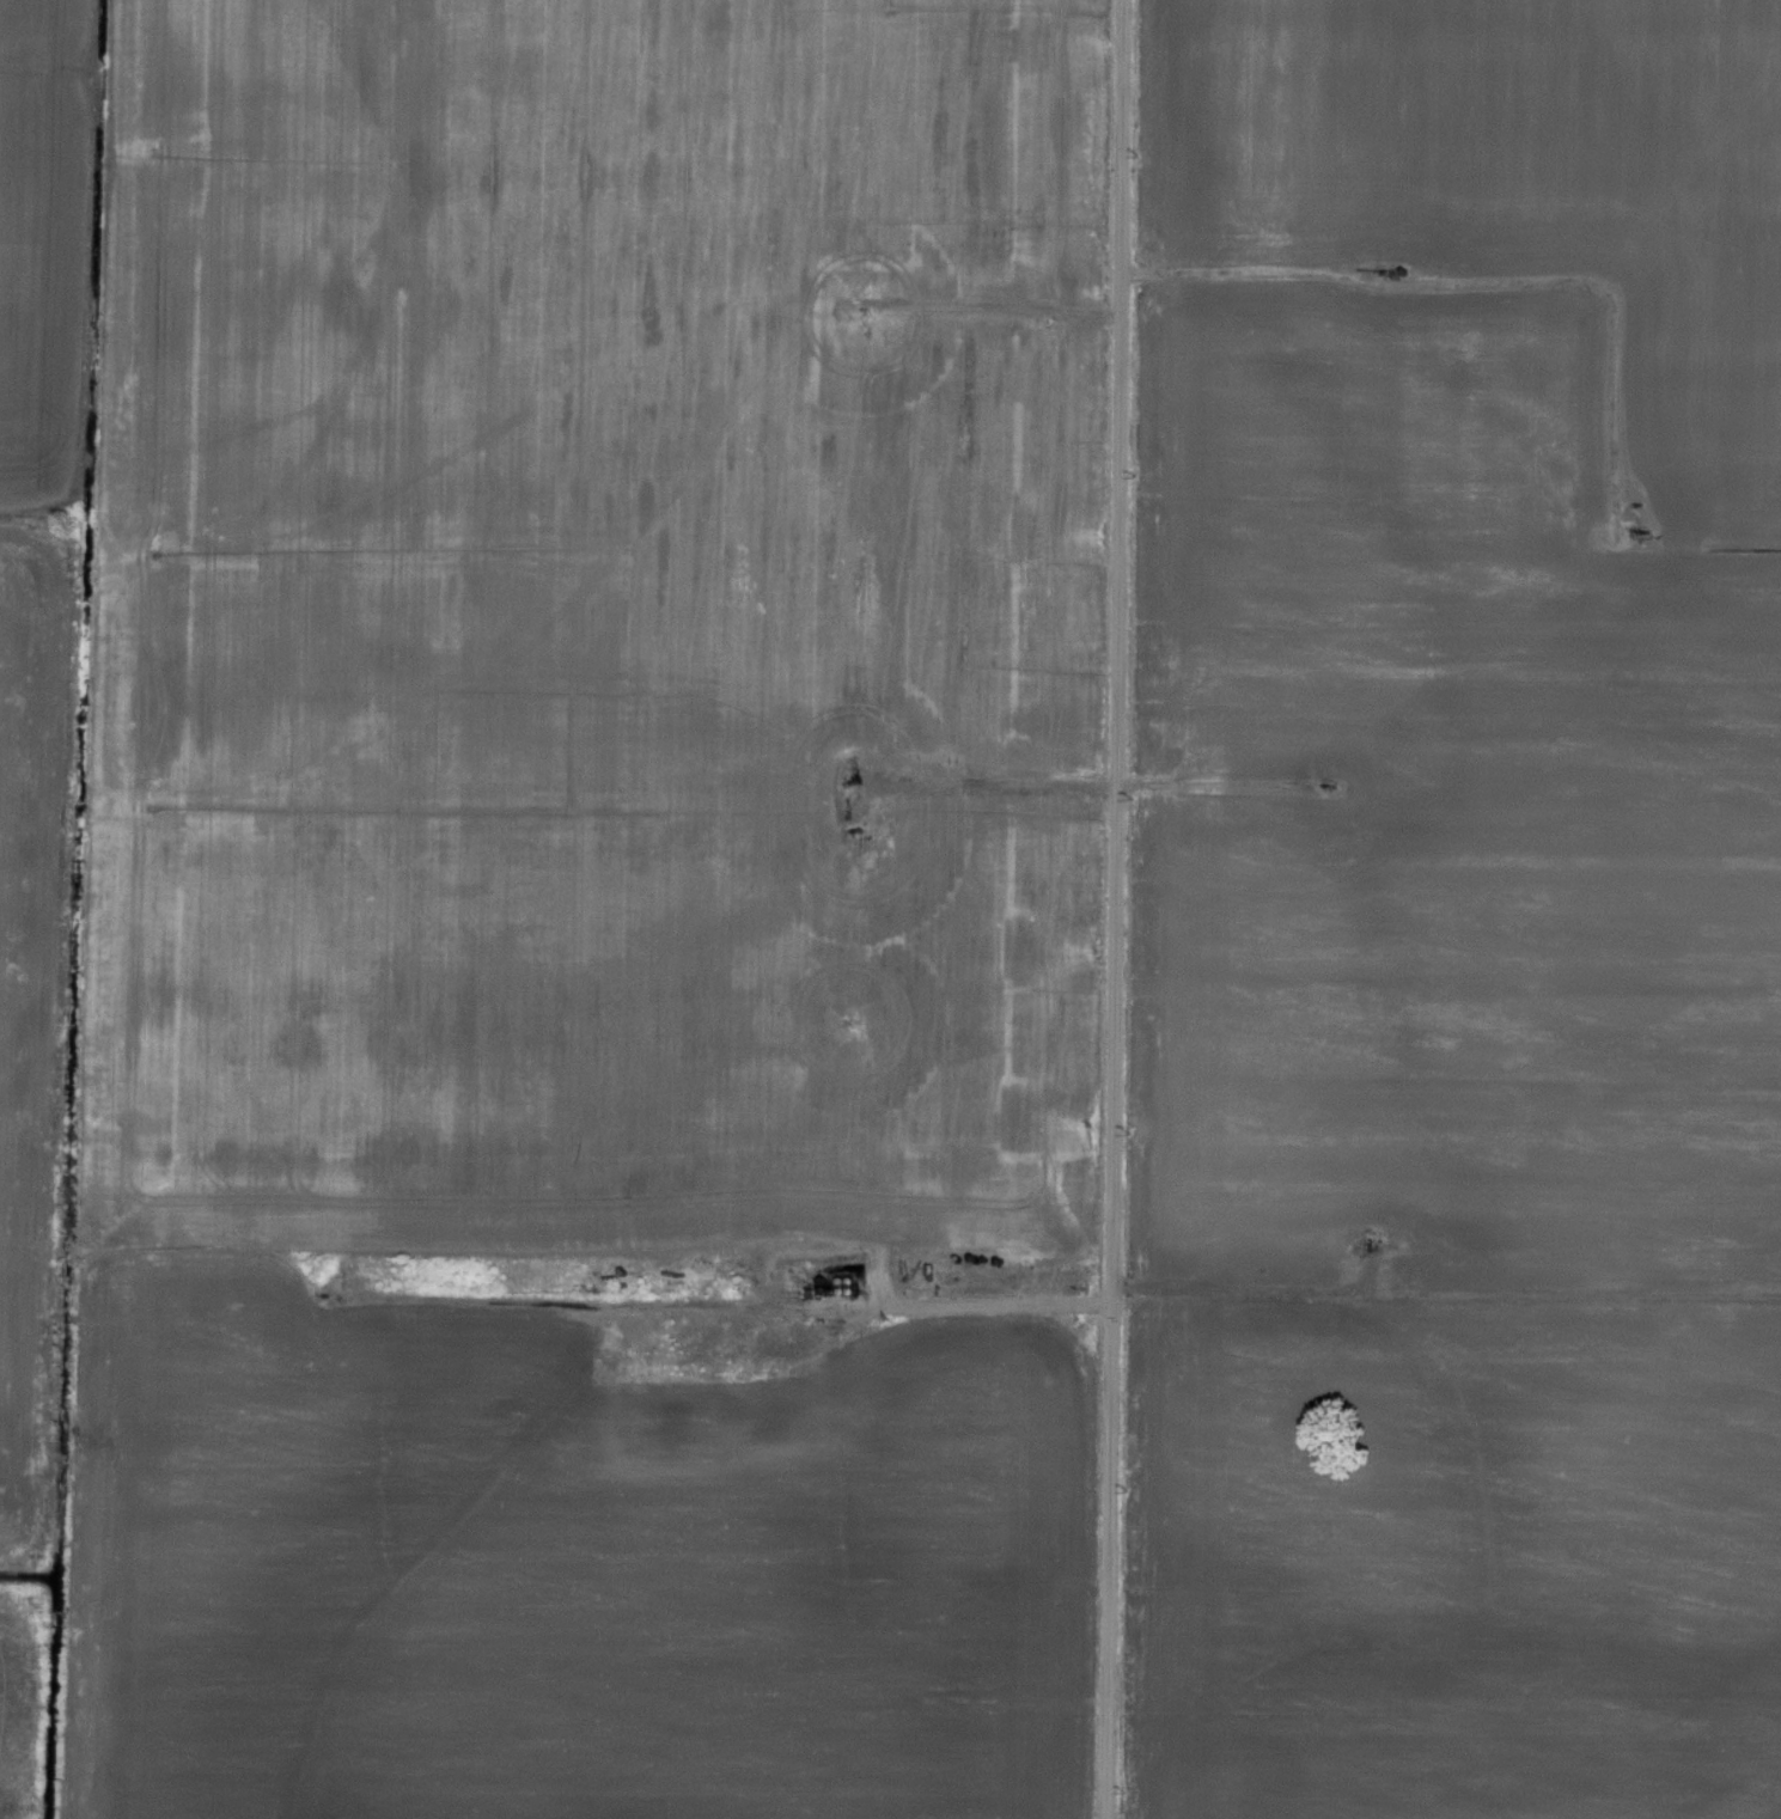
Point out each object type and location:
petroleum well: (1386, 270)
road: (1496, 283)
road: (1001, 306)
petroleum well: (1637, 529)
road: (835, 775)
petroleum well: (856, 781)
petroleum well: (1325, 783)
road: (1112, 909)
road: (968, 1308)

